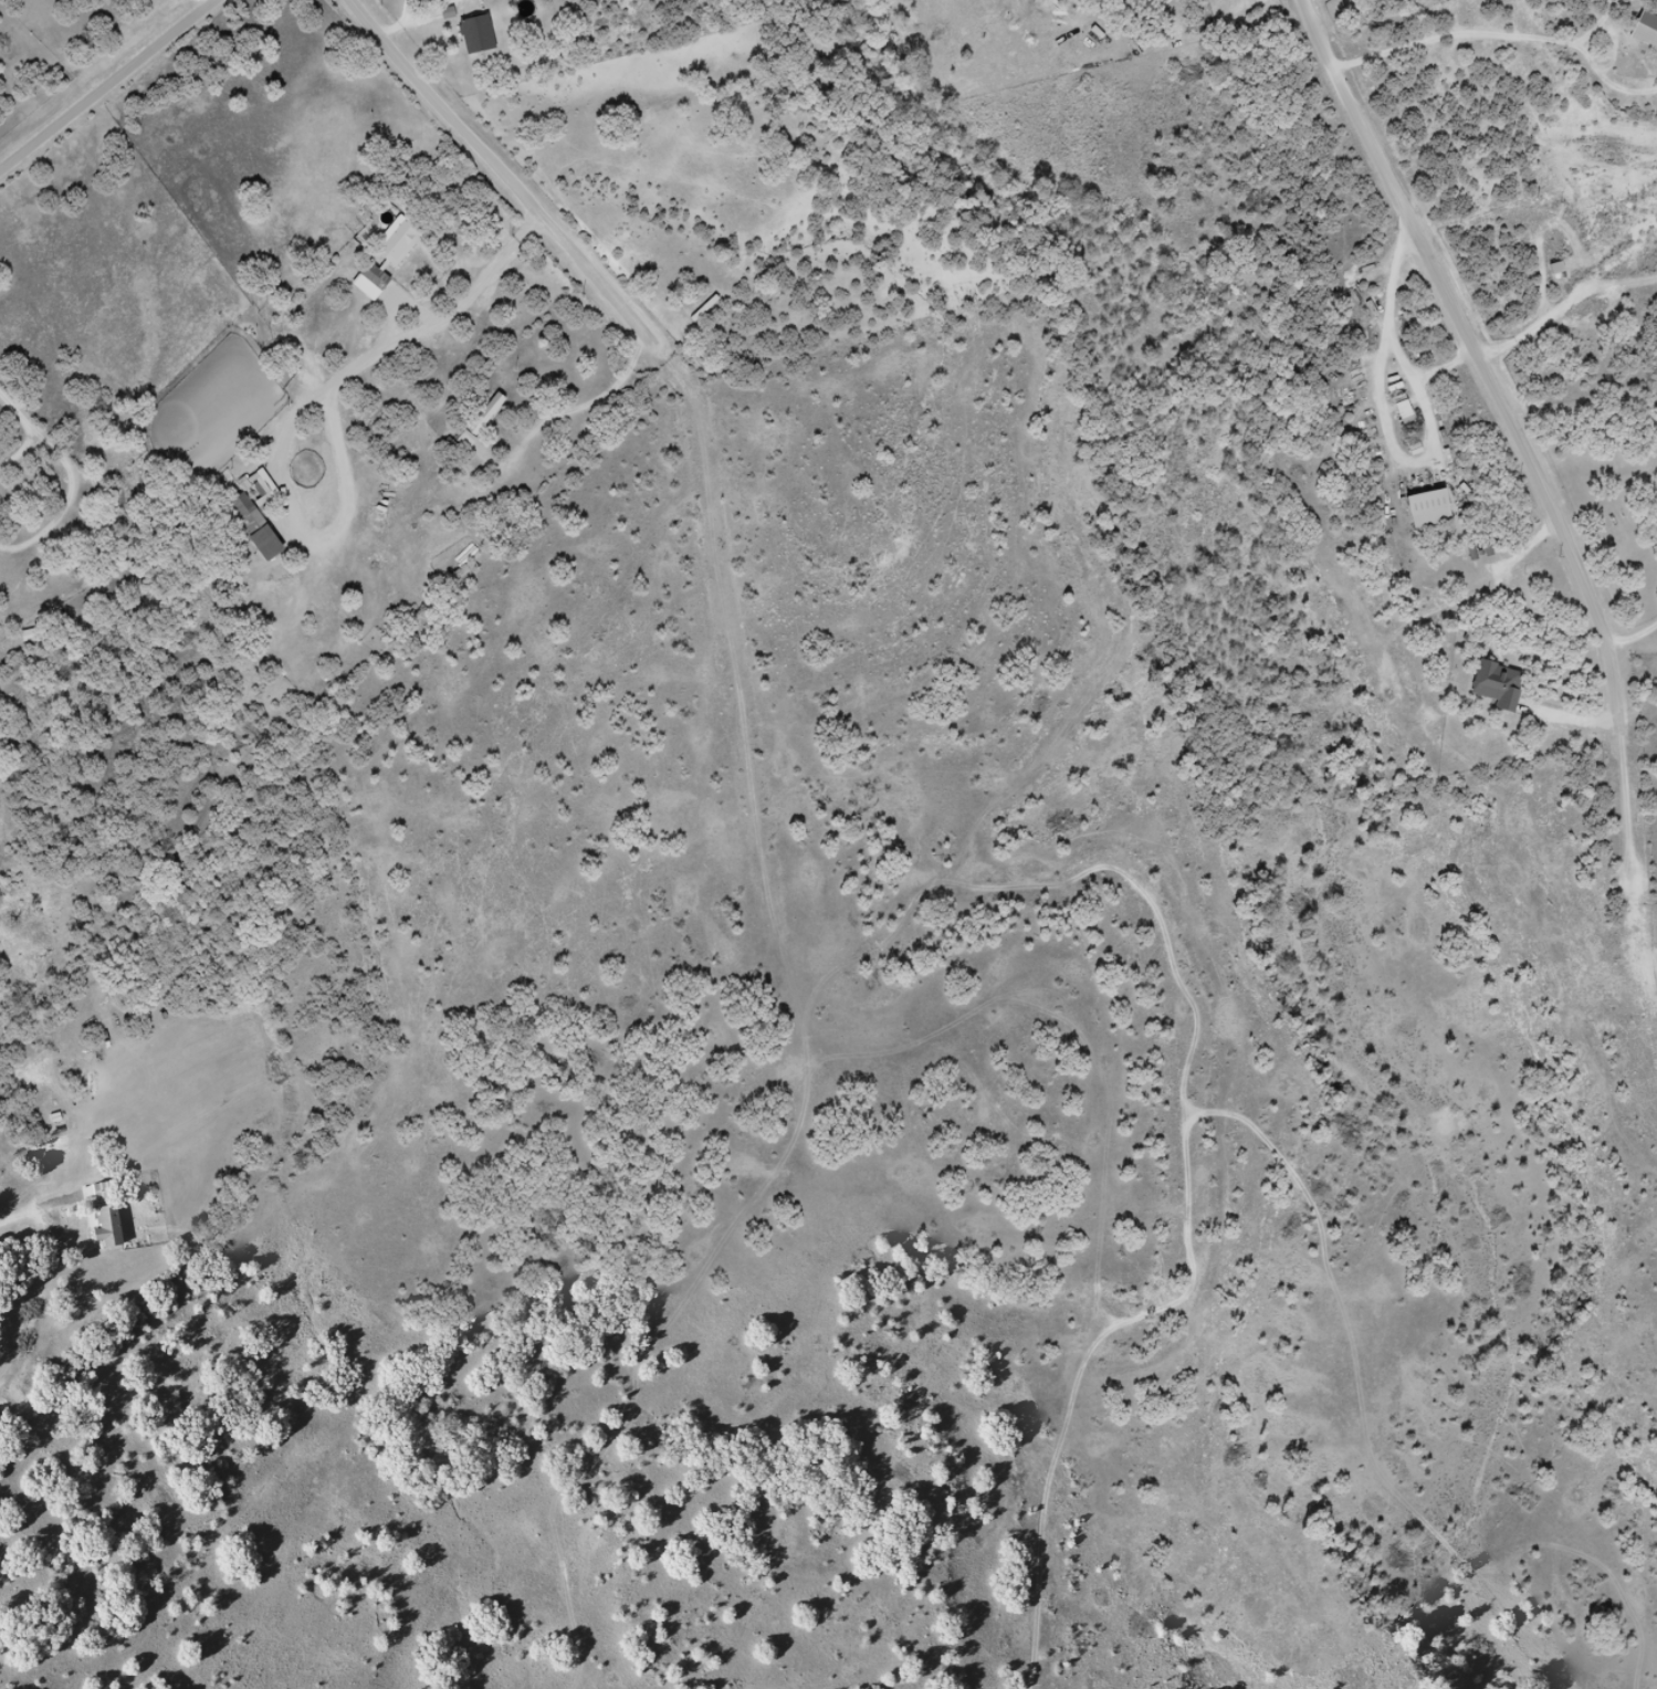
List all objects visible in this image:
road: (202, 3)
building: (1644, 30)
building: (473, 34)
road: (108, 88)
building: (397, 243)
building: (371, 277)
road: (1468, 318)
road: (323, 367)
road: (690, 397)
building: (1401, 412)
building: (478, 421)
building: (1424, 508)
building: (251, 527)
road: (134, 567)
building: (1495, 685)
road: (352, 710)
road: (8, 969)
building: (92, 1193)
building: (106, 1226)

